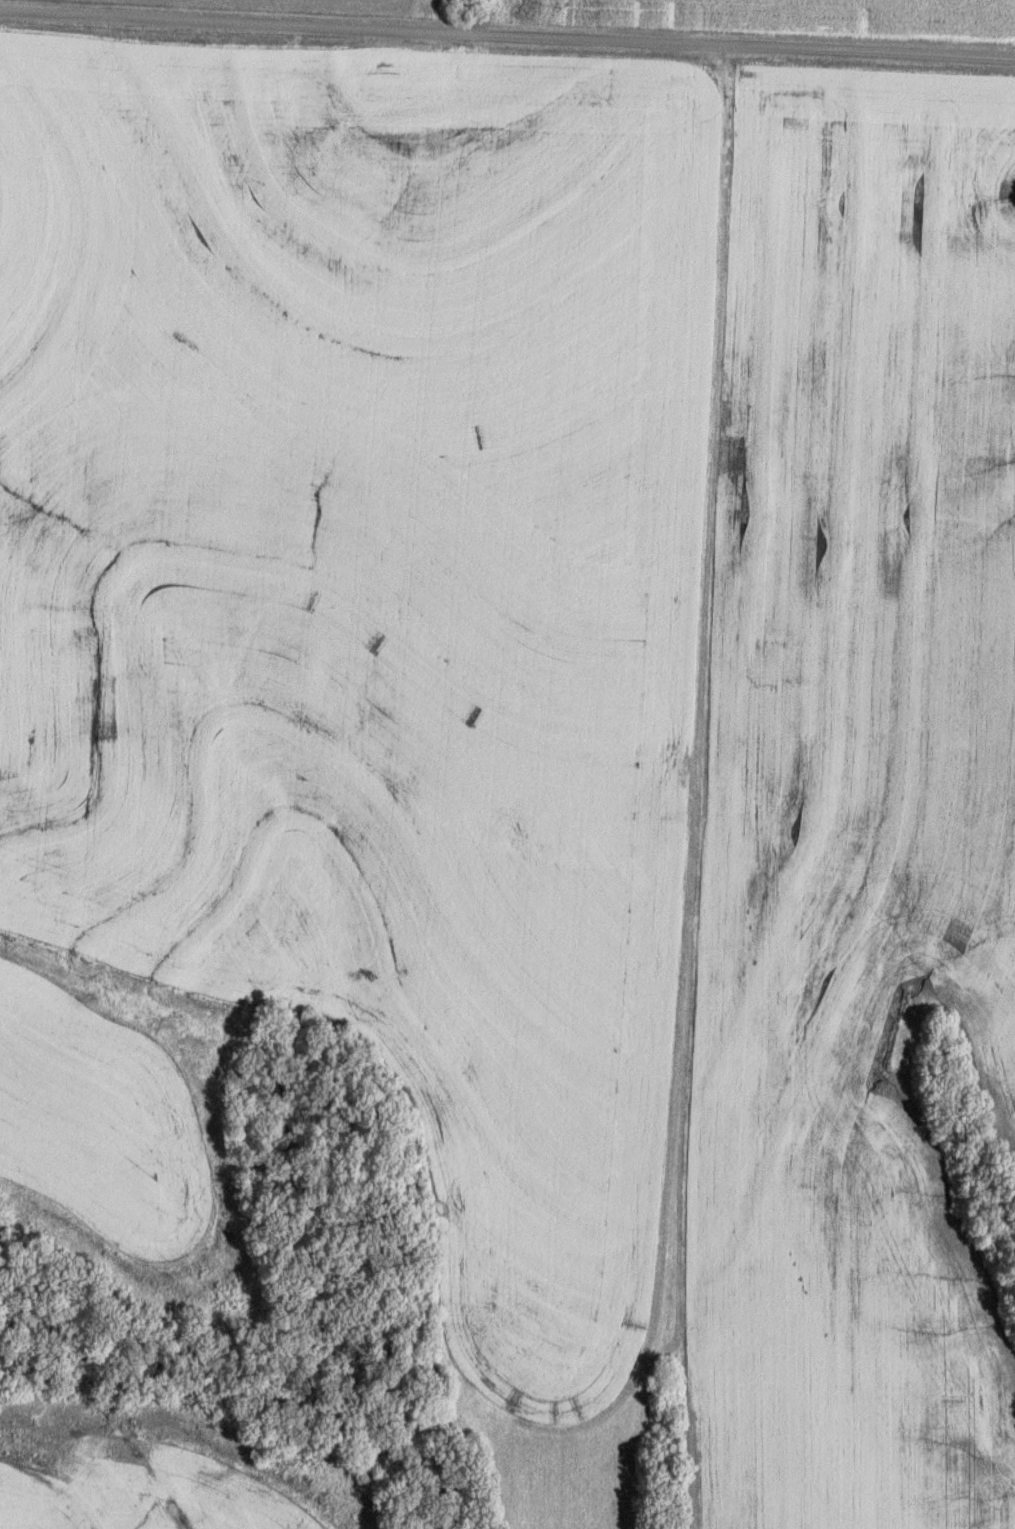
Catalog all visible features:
road: (507, 33)
road: (698, 693)

